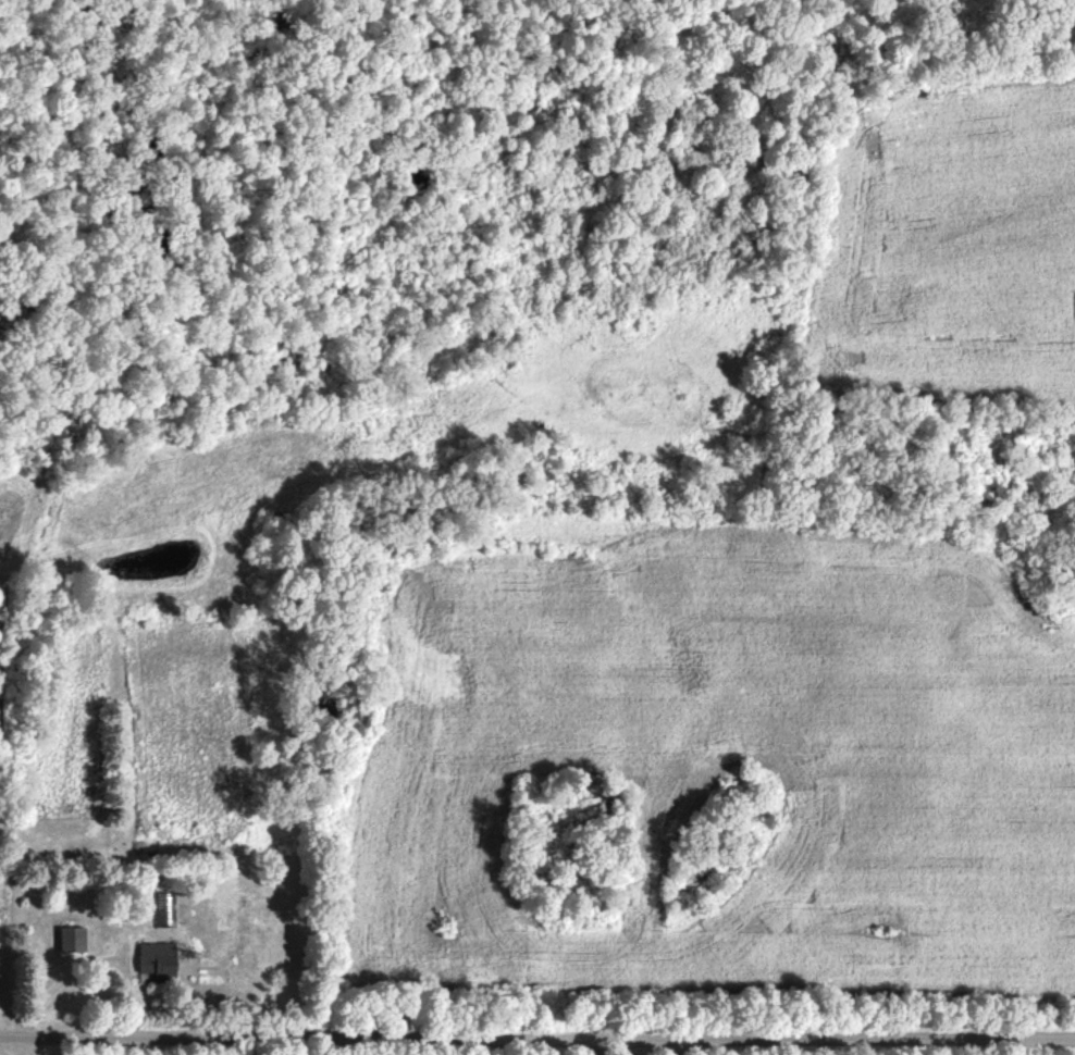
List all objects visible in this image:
building: (1062, 10)
building: (74, 942)
building: (160, 964)
road: (537, 1029)

